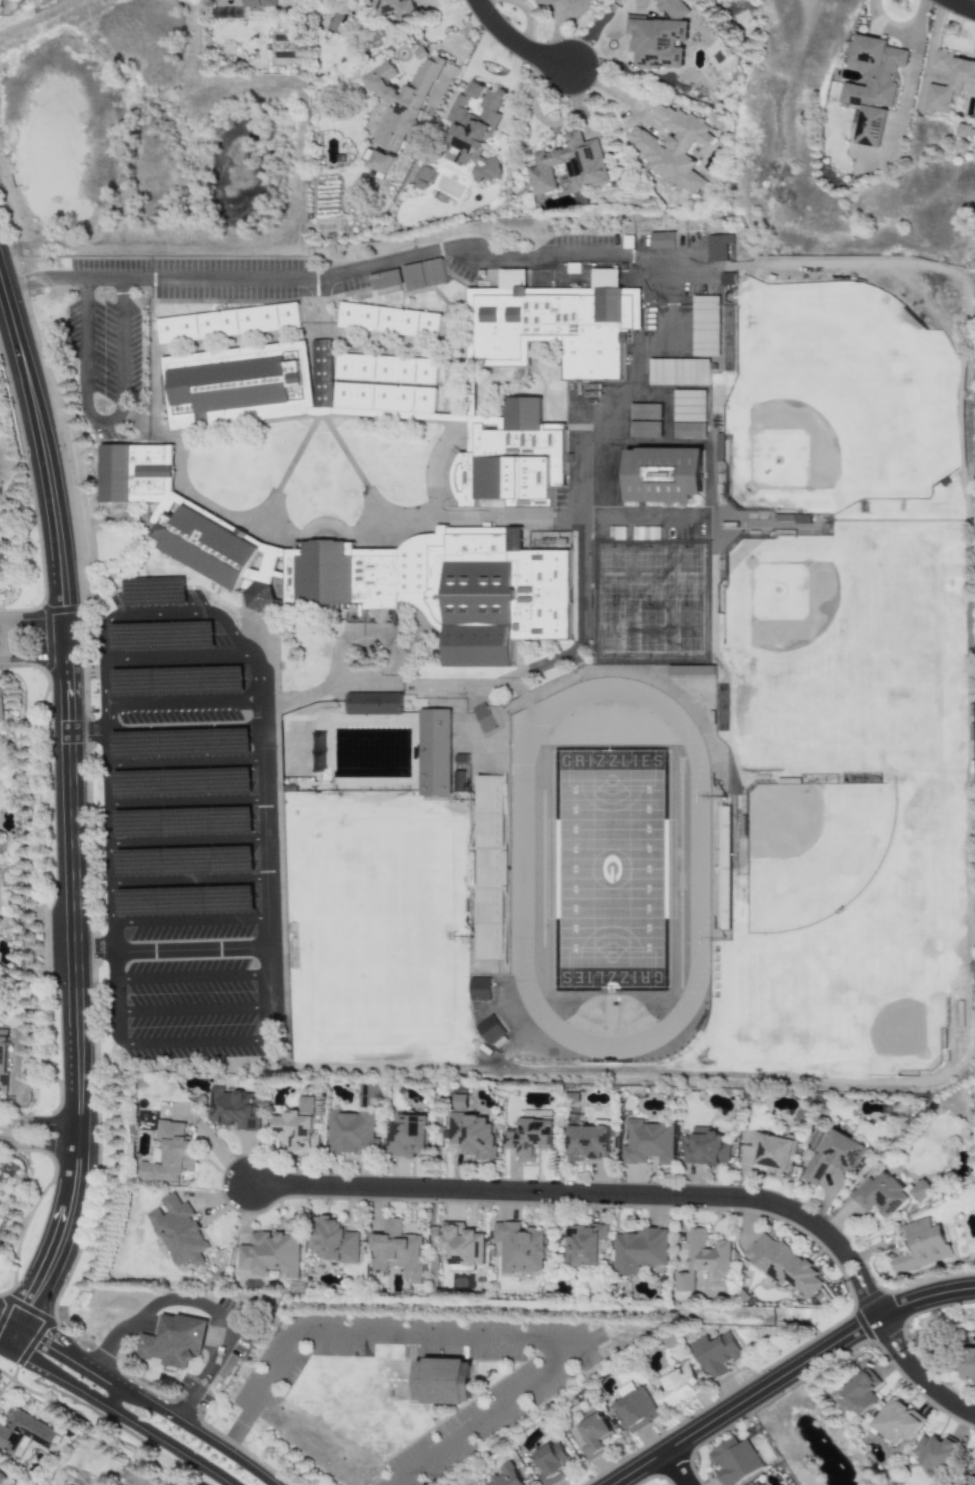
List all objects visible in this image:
building: (263, 3)
building: (543, 3)
building: (585, 3)
road: (961, 5)
building: (398, 8)
building: (672, 9)
road: (887, 26)
road: (514, 42)
building: (658, 42)
road: (910, 73)
building: (873, 86)
building: (962, 86)
road: (613, 92)
building: (400, 102)
building: (477, 128)
building: (965, 132)
building: (675, 148)
building: (382, 163)
building: (573, 166)
building: (425, 178)
road: (448, 252)
road: (643, 384)
park: (835, 402)
road: (105, 424)
road: (168, 610)
road: (33, 622)
road: (11, 644)
road: (172, 645)
building: (531, 658)
road: (34, 665)
road: (181, 676)
road: (181, 707)
building: (0, 711)
road: (103, 723)
road: (167, 736)
road: (183, 760)
road: (184, 793)
park: (846, 806)
road: (75, 819)
road: (185, 827)
road: (186, 859)
track: (521, 868)
park: (610, 869)
road: (187, 891)
road: (188, 922)
road: (177, 952)
road: (190, 981)
road: (190, 1011)
road: (205, 1048)
building: (370, 1096)
building: (234, 1109)
building: (299, 1129)
building: (353, 1134)
building: (475, 1135)
road: (40, 1137)
building: (409, 1137)
building: (532, 1139)
building: (648, 1143)
building: (589, 1144)
building: (706, 1148)
building: (774, 1151)
building: (170, 1155)
building: (835, 1155)
building: (888, 1195)
road: (595, 1196)
building: (178, 1232)
building: (333, 1241)
building: (584, 1245)
building: (921, 1247)
building: (520, 1248)
building: (397, 1251)
building: (640, 1251)
building: (271, 1254)
building: (704, 1260)
building: (784, 1265)
road: (129, 1330)
road: (499, 1341)
building: (182, 1344)
building: (716, 1355)
building: (969, 1364)
road: (214, 1371)
road: (791, 1375)
road: (919, 1376)
building: (446, 1384)
building: (679, 1384)
building: (861, 1393)
road: (114, 1395)
road: (141, 1395)
building: (636, 1411)
road: (116, 1413)
building: (898, 1422)
road: (237, 1432)
building: (22, 1433)
building: (594, 1437)
building: (936, 1452)
building: (736, 1462)
building: (552, 1463)
road: (679, 1469)
building: (507, 1476)
building: (1, 1478)
building: (971, 1480)
building: (763, 1484)

